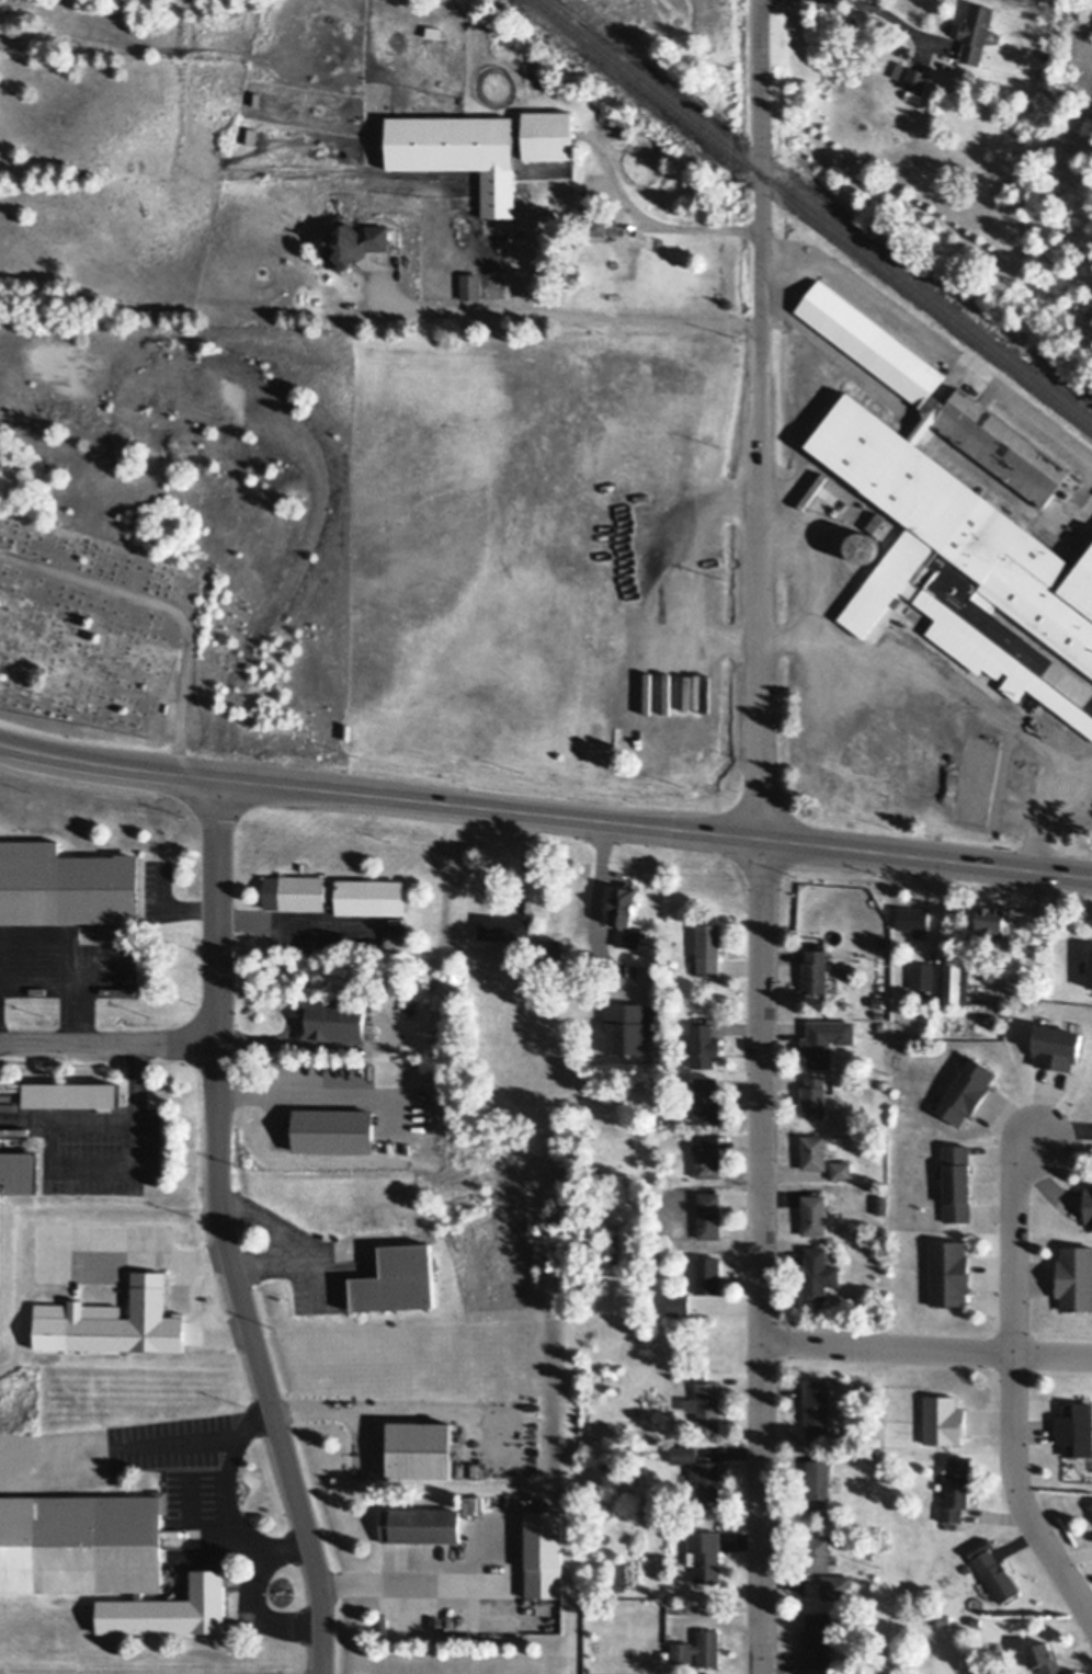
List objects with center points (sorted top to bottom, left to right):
road: (899, 15)
building: (434, 35)
building: (976, 35)
building: (1046, 57)
building: (914, 81)
building: (251, 137)
building: (549, 139)
building: (459, 157)
railway: (812, 214)
road: (645, 224)
building: (596, 228)
building: (350, 244)
building: (470, 288)
road: (559, 316)
road: (761, 420)
building: (958, 517)
building: (879, 520)
building: (863, 547)
road: (814, 562)
road: (687, 569)
park: (95, 639)
road: (962, 694)
road: (98, 765)
road: (407, 800)
road: (854, 850)
building: (694, 873)
building: (66, 878)
building: (337, 888)
road: (167, 904)
building: (624, 910)
road: (594, 912)
building: (912, 914)
building: (992, 914)
building: (396, 915)
building: (504, 923)
building: (395, 932)
building: (708, 945)
road: (1030, 946)
building: (550, 950)
building: (1088, 963)
building: (815, 967)
building: (673, 969)
building: (921, 972)
building: (956, 977)
building: (402, 999)
building: (878, 1000)
building: (376, 1002)
building: (332, 1015)
building: (628, 1022)
building: (826, 1037)
building: (1057, 1039)
building: (704, 1040)
road: (109, 1041)
road: (253, 1041)
building: (683, 1080)
building: (967, 1086)
road: (300, 1087)
building: (815, 1093)
building: (706, 1094)
road: (103, 1115)
building: (10, 1121)
building: (333, 1125)
road: (1065, 1129)
building: (814, 1148)
building: (707, 1152)
building: (19, 1166)
building: (842, 1166)
building: (957, 1178)
building: (1089, 1200)
building: (881, 1203)
building: (709, 1211)
building: (814, 1211)
building: (692, 1223)
road: (224, 1232)
road: (1014, 1240)
road: (295, 1241)
road: (761, 1256)
building: (949, 1268)
building: (707, 1271)
building: (818, 1271)
building: (397, 1274)
building: (1074, 1274)
building: (690, 1300)
road: (179, 1308)
building: (110, 1325)
building: (180, 1344)
road: (926, 1348)
building: (708, 1402)
building: (817, 1405)
building: (944, 1416)
building: (1076, 1423)
building: (420, 1444)
building: (701, 1468)
building: (818, 1483)
building: (956, 1485)
road: (226, 1492)
road: (1021, 1494)
building: (1091, 1501)
building: (420, 1521)
building: (544, 1550)
building: (816, 1550)
building: (705, 1551)
building: (105, 1555)
building: (997, 1572)
building: (837, 1584)
road: (257, 1608)
building: (944, 1618)
building: (976, 1619)
building: (818, 1638)
building: (699, 1645)
building: (1045, 1654)

